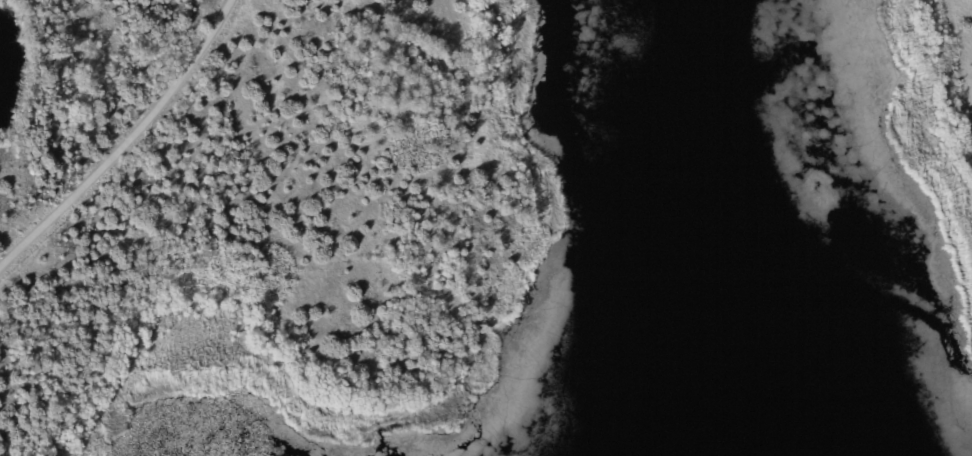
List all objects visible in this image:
road: (125, 141)

